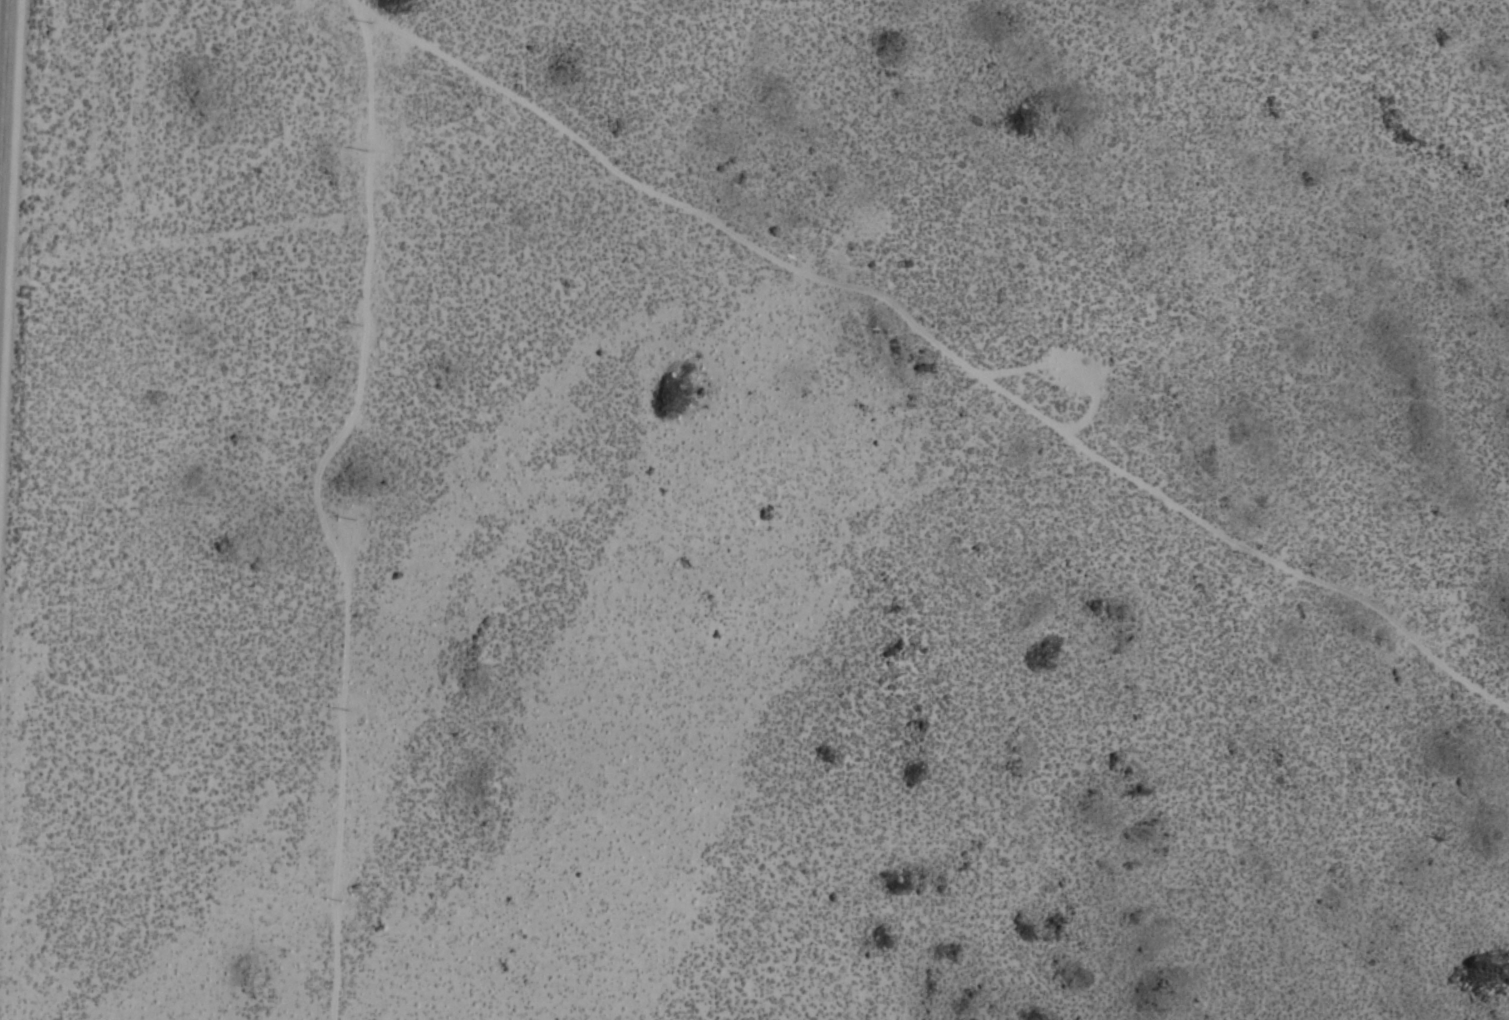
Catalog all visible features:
road: (4, 103)
road: (941, 335)
road: (319, 504)

